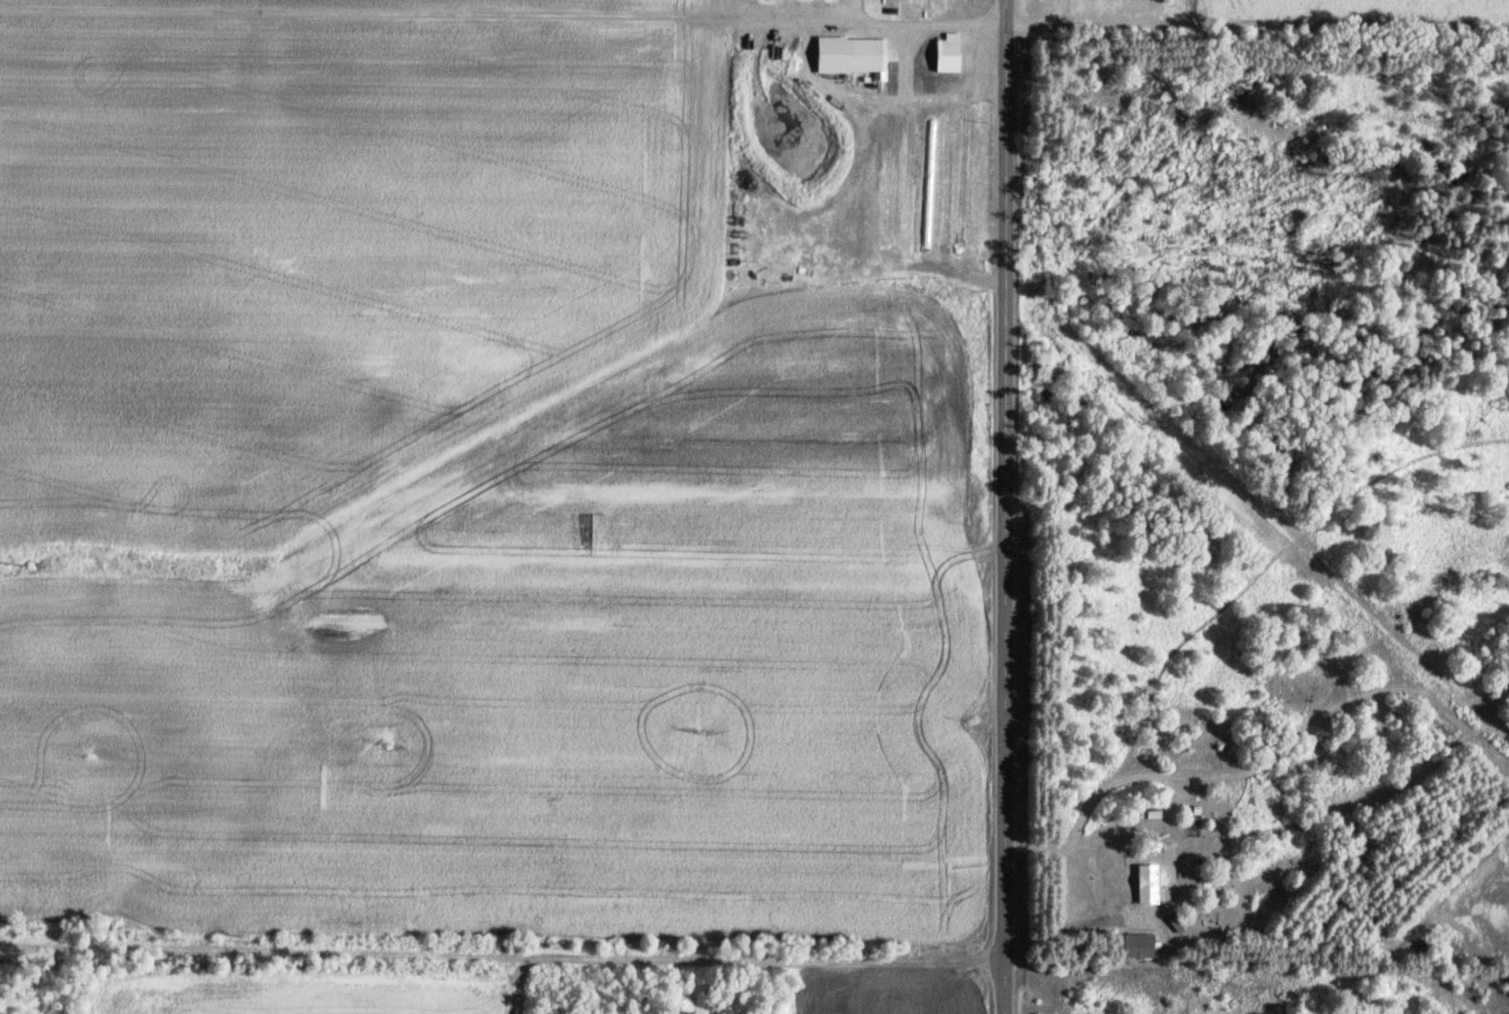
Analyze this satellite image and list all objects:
building: (901, 54)
building: (864, 184)
building: (977, 193)
building: (840, 226)
road: (1006, 506)
building: (1140, 884)
road: (503, 951)

